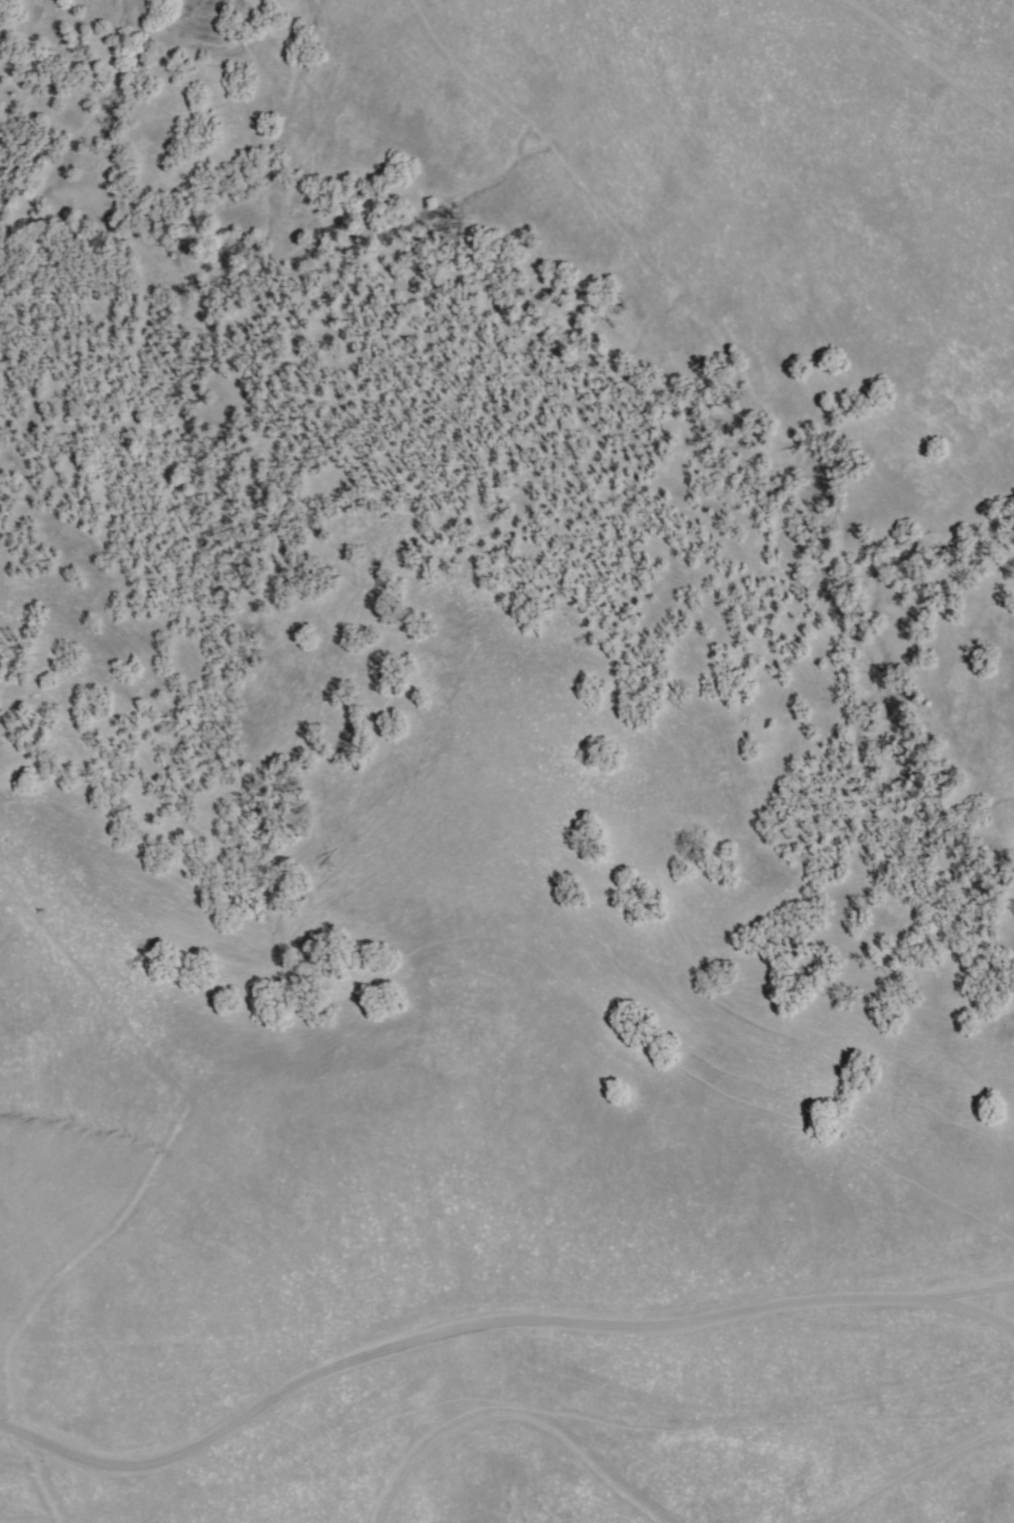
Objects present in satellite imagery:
road: (492, 1325)

